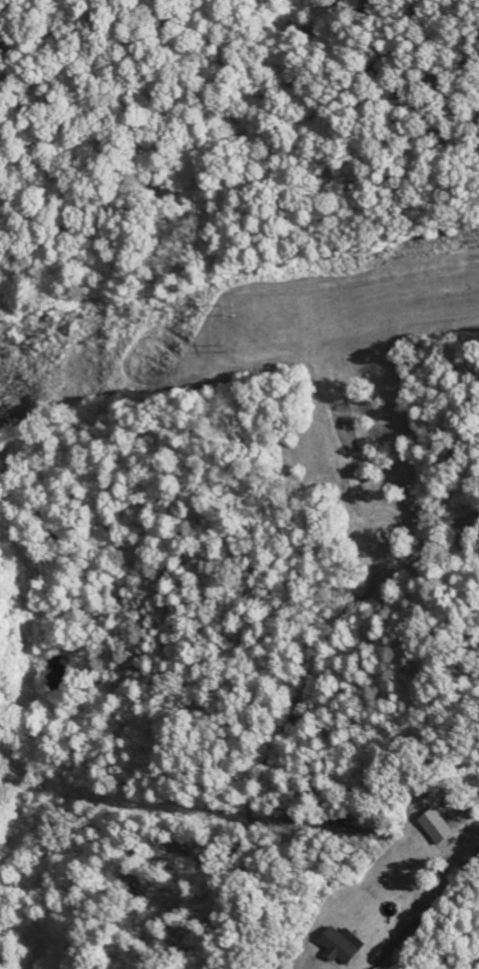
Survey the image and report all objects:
power tower: (232, 308)
power tower: (233, 344)
road: (478, 804)
building: (454, 829)
road: (427, 911)
building: (356, 949)

